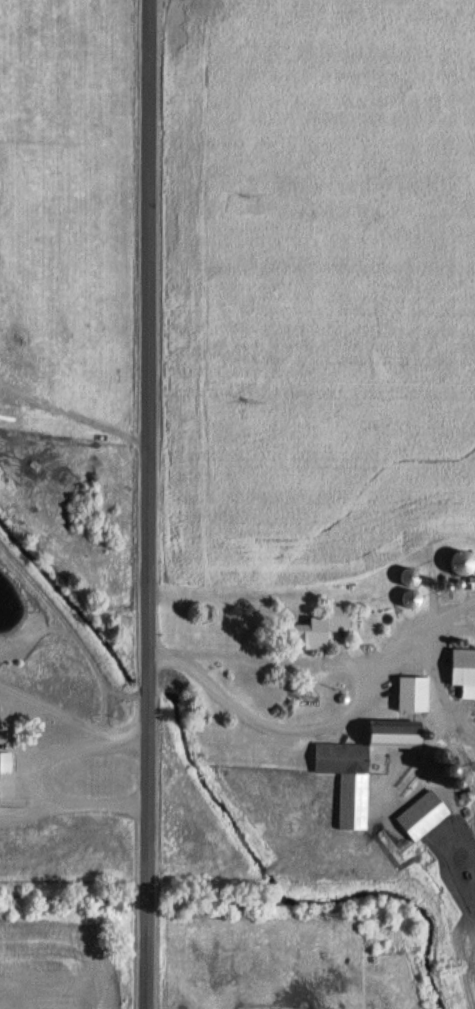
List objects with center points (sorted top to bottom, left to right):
road: (146, 504)
building: (411, 577)
road: (439, 609)
building: (316, 631)
road: (392, 649)
building: (464, 672)
road: (438, 686)
building: (413, 694)
road: (267, 727)
building: (363, 766)
road: (38, 780)
building: (423, 815)

